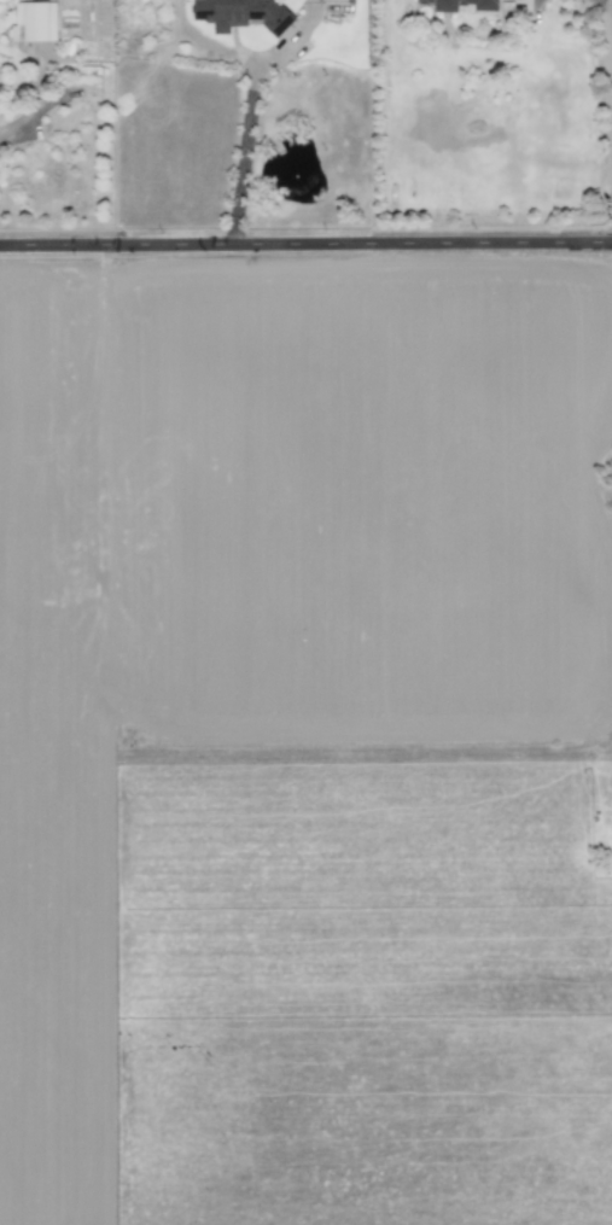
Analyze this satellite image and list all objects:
building: (333, 1)
building: (484, 8)
building: (240, 14)
building: (34, 22)
road: (608, 65)
road: (14, 127)
road: (243, 154)
road: (305, 245)

